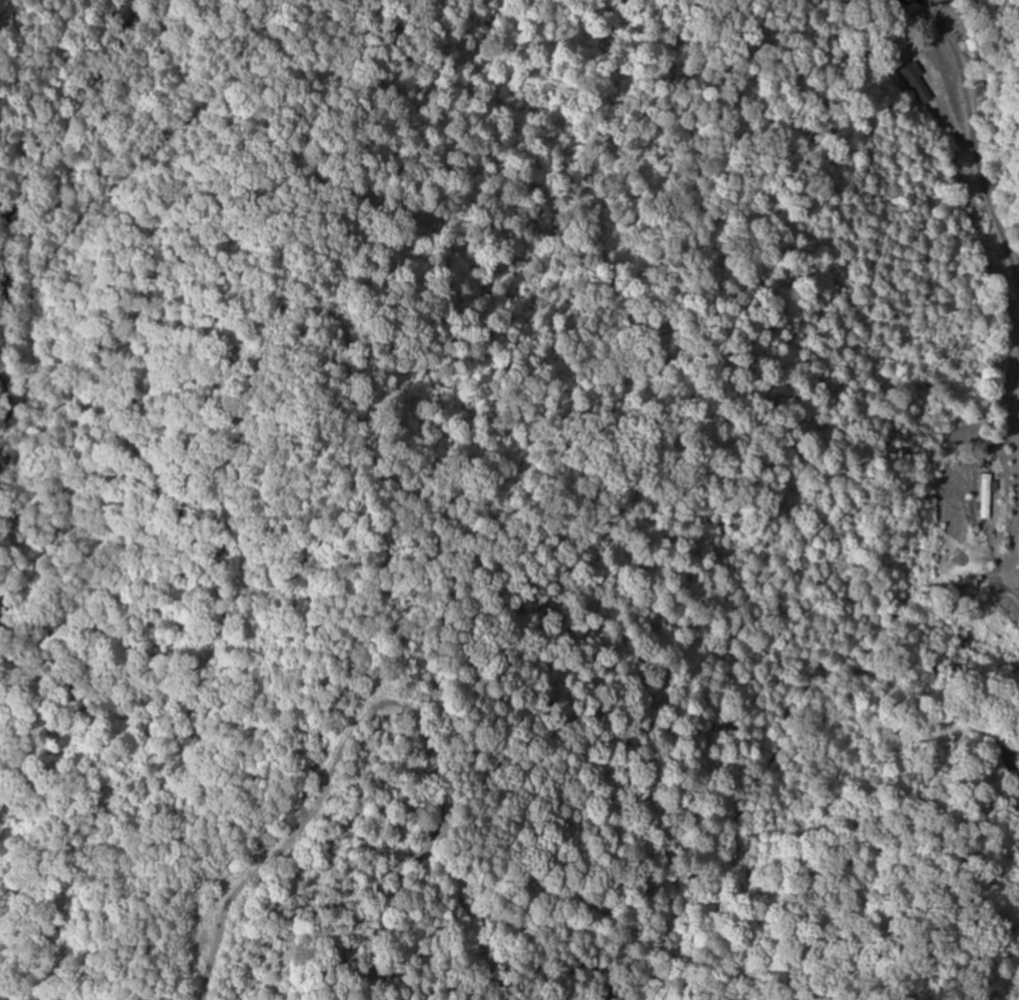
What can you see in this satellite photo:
building: (915, 82)
road: (547, 254)
building: (983, 497)

